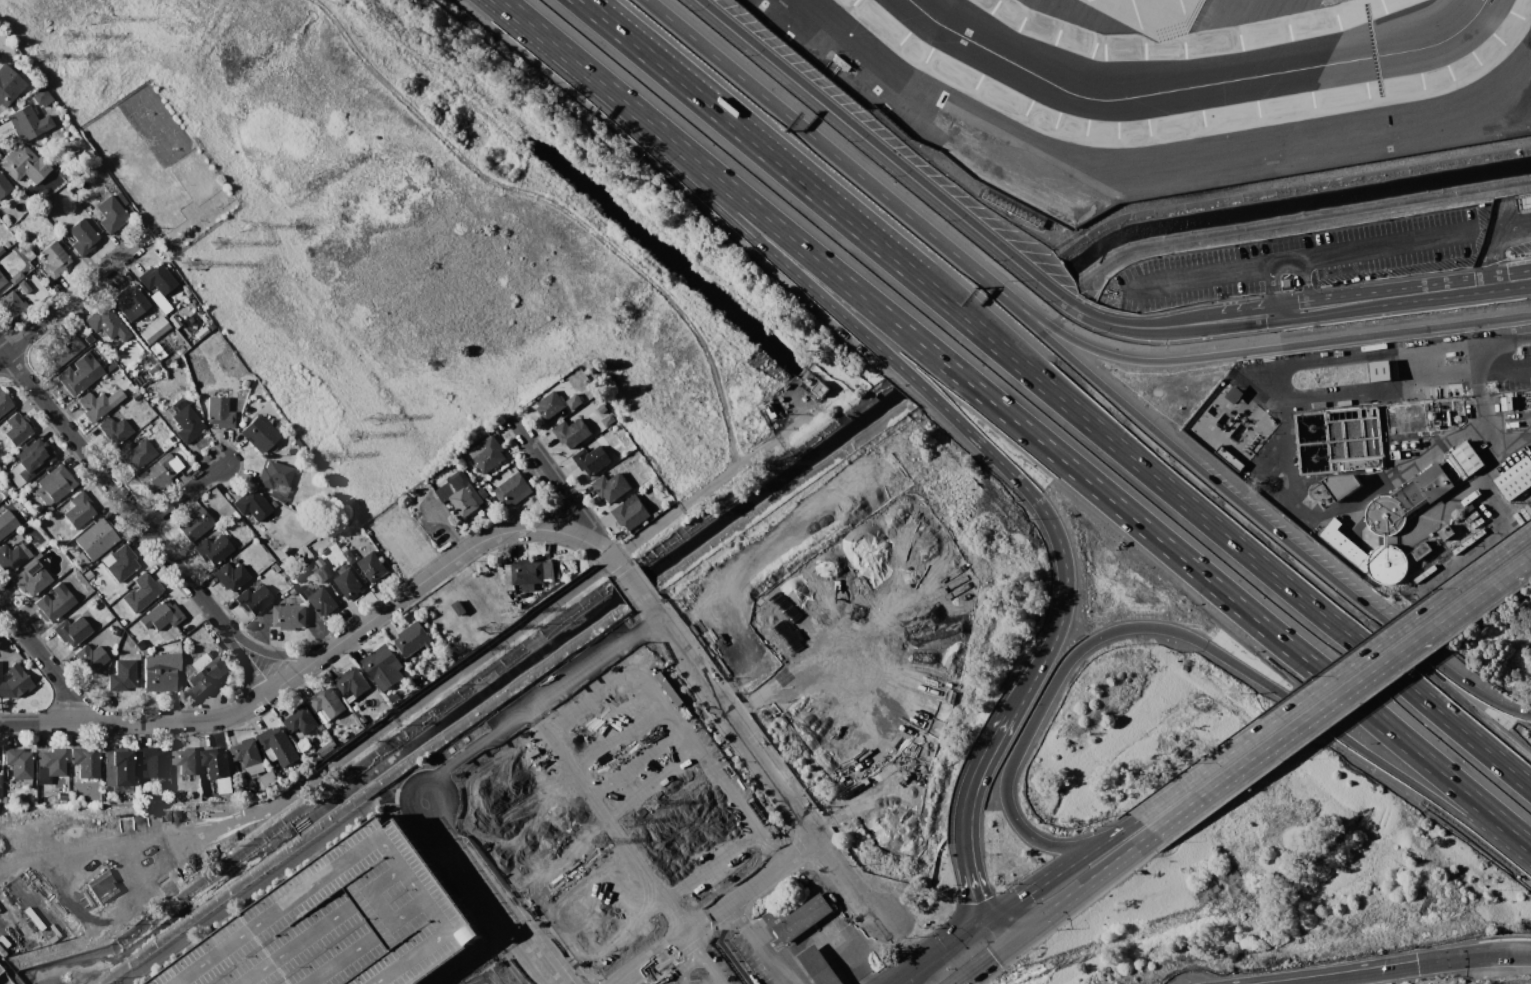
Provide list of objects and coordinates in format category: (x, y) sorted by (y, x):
road: (517, 15)
power tower: (95, 20)
power tower: (69, 37)
road: (752, 47)
street lamp: (738, 49)
power tower: (41, 58)
airport taxiway: (1194, 82)
airport: (1162, 88)
building: (5, 91)
building: (38, 93)
building: (27, 121)
road: (644, 134)
street lamp: (846, 142)
road: (820, 143)
building: (19, 163)
road: (794, 176)
street lamp: (889, 176)
building: (3, 185)
road: (1523, 202)
building: (1524, 202)
road: (560, 205)
building: (109, 213)
road: (1500, 219)
street lamp: (943, 220)
power tower: (244, 231)
building: (80, 237)
park: (389, 241)
power tower: (217, 243)
road: (1498, 245)
building: (0, 249)
road: (1384, 249)
road: (998, 250)
building: (53, 259)
street lamp: (991, 259)
parking lot: (1299, 259)
building: (16, 260)
power tower: (190, 263)
road: (1283, 265)
building: (156, 278)
building: (1, 280)
road: (1191, 280)
road: (1507, 280)
street lamp: (1010, 281)
building: (23, 284)
road: (1304, 285)
road: (1269, 290)
road: (1430, 291)
road: (74, 294)
building: (128, 301)
building: (158, 301)
street lamp: (1043, 301)
road: (1343, 303)
building: (10, 304)
road: (1290, 310)
road: (1246, 317)
building: (106, 323)
road: (849, 325)
building: (152, 328)
building: (82, 334)
road: (1066, 336)
road: (1340, 340)
building: (58, 350)
road: (1484, 354)
road: (1506, 364)
building: (1379, 370)
building: (73, 378)
building: (813, 386)
building: (1232, 394)
road: (1300, 399)
building: (1505, 402)
building: (3, 403)
building: (574, 403)
building: (92, 404)
building: (550, 406)
building: (215, 408)
building: (181, 418)
building: (607, 420)
power tower: (381, 421)
building: (14, 429)
building: (112, 429)
building: (257, 430)
building: (571, 431)
road: (1034, 436)
power tower: (355, 437)
building: (134, 450)
building: (35, 454)
building: (486, 454)
road: (1494, 454)
road: (538, 455)
building: (1228, 457)
building: (1468, 457)
power tower: (329, 458)
building: (591, 459)
wastewater plant: (1340, 459)
building: (1360, 462)
building: (157, 471)
building: (272, 473)
building: (1515, 478)
building: (54, 482)
road: (1022, 484)
building: (610, 486)
building: (1332, 486)
road: (113, 490)
building: (513, 491)
building: (461, 493)
road: (182, 494)
road: (1447, 496)
building: (1404, 500)
building: (251, 503)
road: (1343, 504)
building: (76, 508)
building: (629, 513)
road: (1253, 513)
road: (562, 517)
street lamp: (1028, 519)
road: (585, 520)
building: (5, 521)
building: (192, 522)
road: (575, 525)
building: (59, 535)
road: (574, 536)
building: (94, 539)
building: (212, 549)
building: (1367, 554)
building: (9, 555)
building: (350, 556)
road: (613, 558)
building: (78, 560)
building: (120, 562)
building: (372, 567)
building: (273, 569)
road: (1269, 570)
road: (607, 571)
building: (324, 574)
building: (86, 575)
building: (527, 575)
building: (229, 577)
road: (431, 577)
building: (29, 579)
building: (349, 584)
road: (633, 586)
building: (139, 592)
road: (624, 593)
building: (252, 600)
building: (323, 602)
building: (51, 603)
road: (1466, 605)
power tower: (513, 609)
building: (159, 618)
building: (289, 618)
power tower: (491, 627)
building: (70, 630)
building: (413, 638)
road: (1198, 641)
power tower: (462, 648)
road: (1047, 651)
building: (90, 655)
road: (276, 655)
road: (480, 655)
road: (250, 661)
building: (379, 662)
road: (46, 663)
road: (302, 669)
building: (120, 674)
building: (206, 674)
road: (1335, 674)
building: (158, 678)
building: (350, 682)
building: (14, 683)
road: (544, 698)
building: (327, 702)
road: (1348, 708)
road: (713, 718)
building: (300, 719)
road: (140, 721)
road: (729, 721)
road: (1279, 743)
building: (276, 745)
building: (325, 749)
building: (247, 755)
building: (50, 762)
building: (182, 762)
building: (215, 762)
building: (16, 764)
building: (83, 764)
building: (150, 764)
building: (116, 770)
road: (982, 770)
road: (413, 781)
power tower: (652, 805)
power tower: (630, 822)
road: (1117, 832)
power tower: (602, 844)
road: (802, 844)
road: (464, 846)
road: (400, 847)
road: (371, 848)
road: (435, 852)
road: (459, 852)
road: (420, 859)
road: (454, 867)
road: (972, 874)
road: (1043, 880)
road: (261, 881)
road: (457, 882)
road: (848, 884)
road: (444, 893)
road: (839, 893)
traffic signals: (1020, 896)
traffic signals: (981, 898)
road: (506, 900)
road: (392, 905)
road: (1056, 908)
road: (851, 909)
road: (1073, 913)
road: (489, 917)
building: (801, 918)
road: (528, 919)
road: (844, 919)
road: (1020, 919)
building: (345, 922)
parking lot: (345, 922)
road: (505, 926)
road: (829, 931)
building: (591, 936)
road: (304, 943)
road: (809, 945)
road: (840, 946)
road: (543, 947)
road: (948, 950)
road: (770, 953)
building: (829, 954)
traffic signals: (995, 956)
road: (1527, 957)
road: (351, 960)
road: (820, 960)
road: (850, 960)
road: (1470, 961)
road: (456, 962)
road: (524, 967)
road: (559, 969)
traffic signals: (1418, 970)
road: (838, 973)
road: (7, 974)
building: (440, 974)
building: (494, 974)
road: (831, 975)
road: (1364, 977)
road: (857, 980)
railway: (1, 982)

